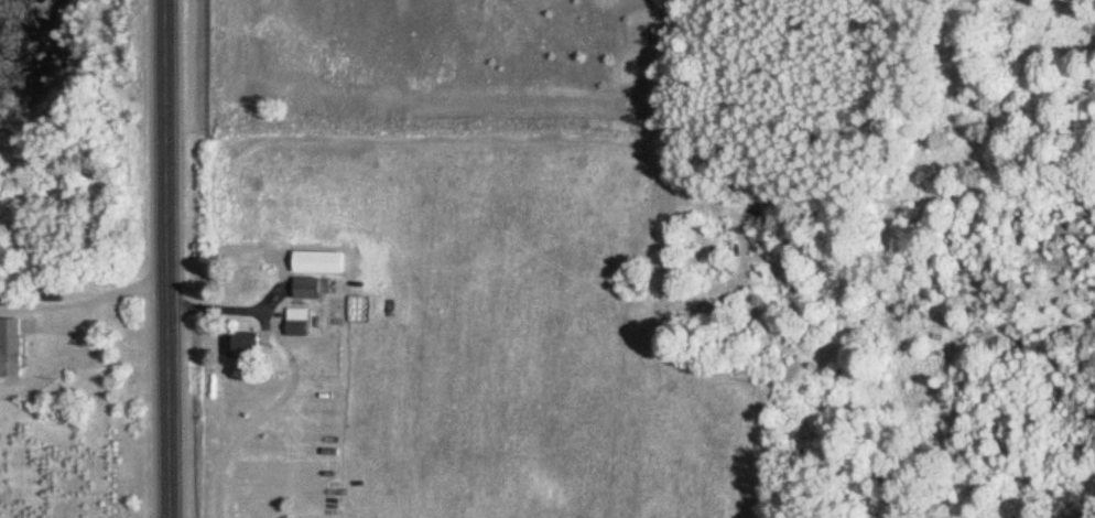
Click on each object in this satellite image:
road: (174, 259)
building: (310, 288)
building: (300, 322)
building: (242, 345)
building: (11, 347)

